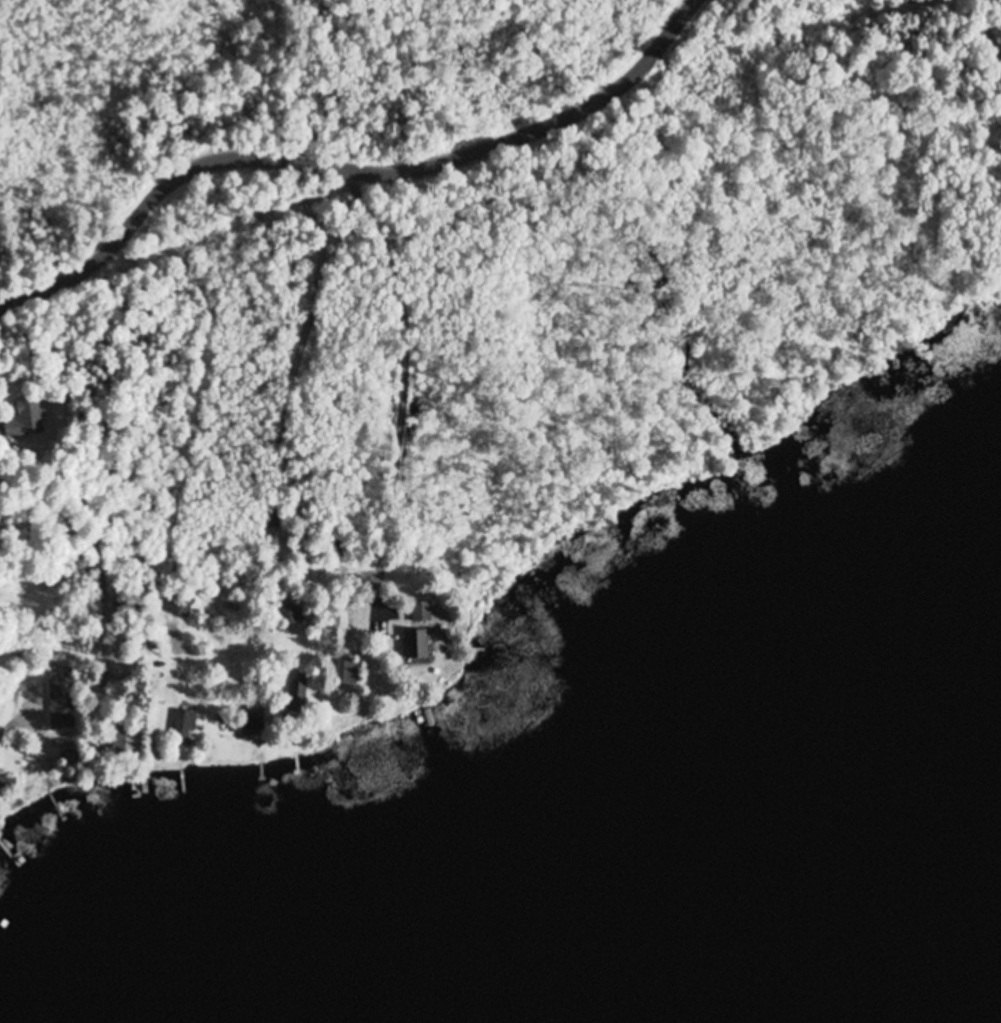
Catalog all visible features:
road: (937, 46)
road: (351, 168)
road: (333, 387)
building: (24, 421)
road: (111, 536)
building: (180, 605)
building: (421, 613)
building: (291, 614)
building: (416, 645)
building: (346, 674)
building: (297, 694)
building: (61, 704)
building: (255, 719)
building: (186, 726)
building: (124, 742)

